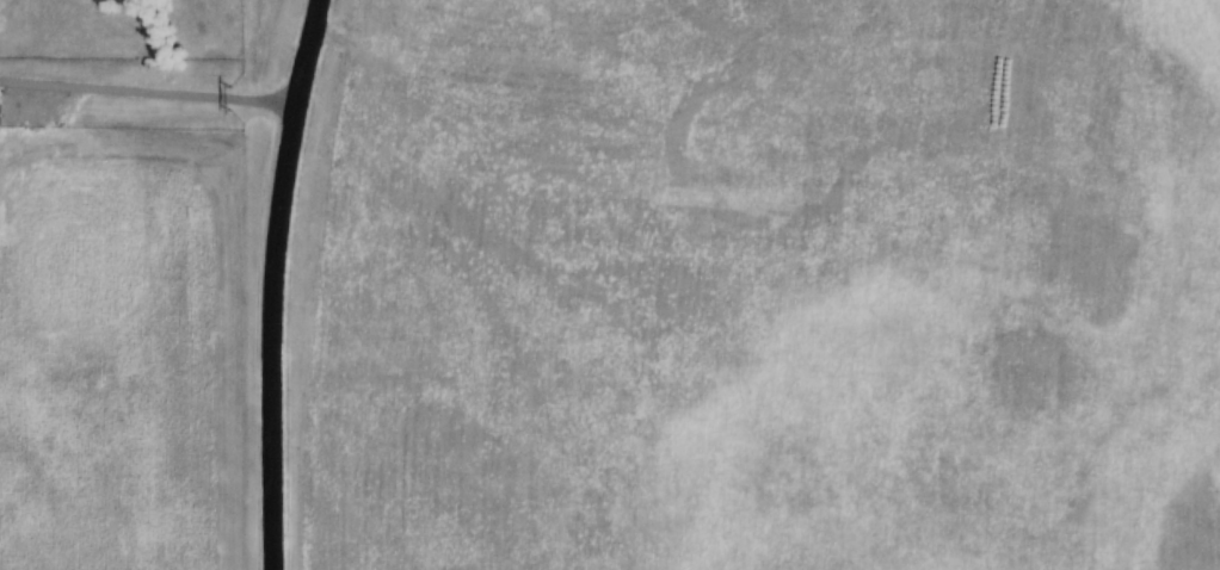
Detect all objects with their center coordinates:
building: (0, 116)
road: (270, 283)

